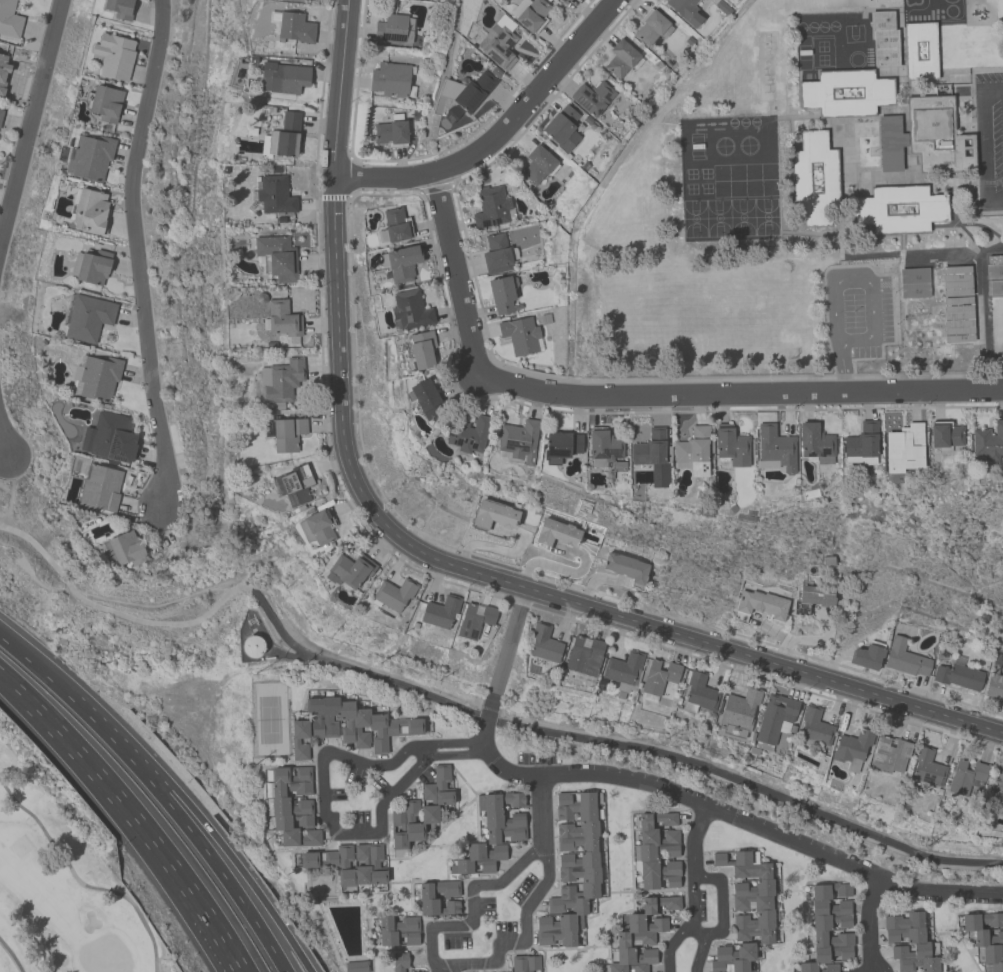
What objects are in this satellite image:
building: (564, 1)
building: (119, 8)
building: (686, 10)
building: (530, 14)
building: (9, 19)
building: (295, 27)
building: (393, 29)
building: (651, 29)
building: (884, 38)
building: (498, 42)
building: (920, 50)
building: (113, 56)
building: (621, 58)
building: (3, 73)
building: (283, 78)
building: (391, 80)
building: (467, 91)
building: (846, 93)
building: (591, 97)
building: (105, 103)
building: (1, 113)
road: (30, 116)
building: (561, 128)
building: (391, 132)
road: (497, 132)
building: (282, 137)
building: (926, 138)
building: (89, 157)
building: (538, 164)
building: (814, 178)
building: (274, 194)
building: (491, 207)
building: (899, 209)
building: (90, 212)
building: (394, 226)
road: (136, 251)
building: (496, 254)
building: (276, 257)
building: (994, 258)
building: (402, 263)
building: (90, 266)
road: (865, 279)
building: (994, 279)
building: (913, 283)
building: (501, 293)
building: (957, 304)
building: (409, 311)
building: (87, 317)
building: (281, 319)
building: (520, 335)
building: (421, 349)
road: (842, 367)
building: (96, 377)
building: (280, 380)
road: (636, 394)
building: (424, 397)
building: (468, 433)
building: (287, 434)
building: (944, 434)
building: (109, 438)
building: (519, 440)
building: (988, 441)
building: (815, 444)
building: (861, 444)
building: (561, 446)
building: (603, 446)
building: (731, 446)
building: (776, 447)
road: (2, 448)
building: (903, 448)
building: (692, 451)
building: (652, 455)
building: (293, 485)
building: (99, 488)
building: (494, 515)
building: (317, 527)
building: (556, 533)
building: (126, 548)
road: (433, 557)
building: (625, 567)
building: (349, 571)
building: (393, 594)
building: (815, 595)
building: (761, 604)
building: (440, 611)
road: (115, 613)
building: (474, 620)
road: (512, 640)
building: (544, 643)
building: (253, 648)
building: (584, 655)
building: (867, 655)
building: (904, 658)
road: (31, 662)
road: (351, 669)
building: (623, 670)
building: (659, 676)
building: (958, 676)
building: (994, 687)
road: (16, 692)
building: (698, 694)
road: (489, 707)
building: (738, 712)
road: (486, 718)
road: (91, 719)
building: (773, 720)
building: (346, 726)
building: (814, 727)
road: (452, 742)
building: (852, 748)
road: (424, 750)
road: (457, 754)
road: (344, 755)
building: (890, 755)
building: (927, 767)
building: (965, 777)
building: (997, 780)
road: (751, 784)
building: (420, 809)
road: (540, 809)
building: (288, 810)
building: (1001, 813)
road: (729, 816)
road: (380, 818)
road: (143, 833)
building: (492, 833)
road: (691, 841)
road: (225, 851)
building: (656, 851)
road: (206, 858)
building: (336, 865)
building: (572, 869)
park: (59, 895)
building: (427, 898)
road: (720, 899)
road: (693, 903)
building: (765, 913)
road: (868, 919)
building: (828, 927)
building: (398, 930)
road: (697, 930)
building: (639, 936)
building: (986, 937)
building: (910, 942)
road: (669, 946)
road: (698, 952)
building: (399, 961)
road: (438, 963)
building: (524, 963)
road: (870, 963)
building: (355, 966)
road: (452, 967)
road: (436, 968)

